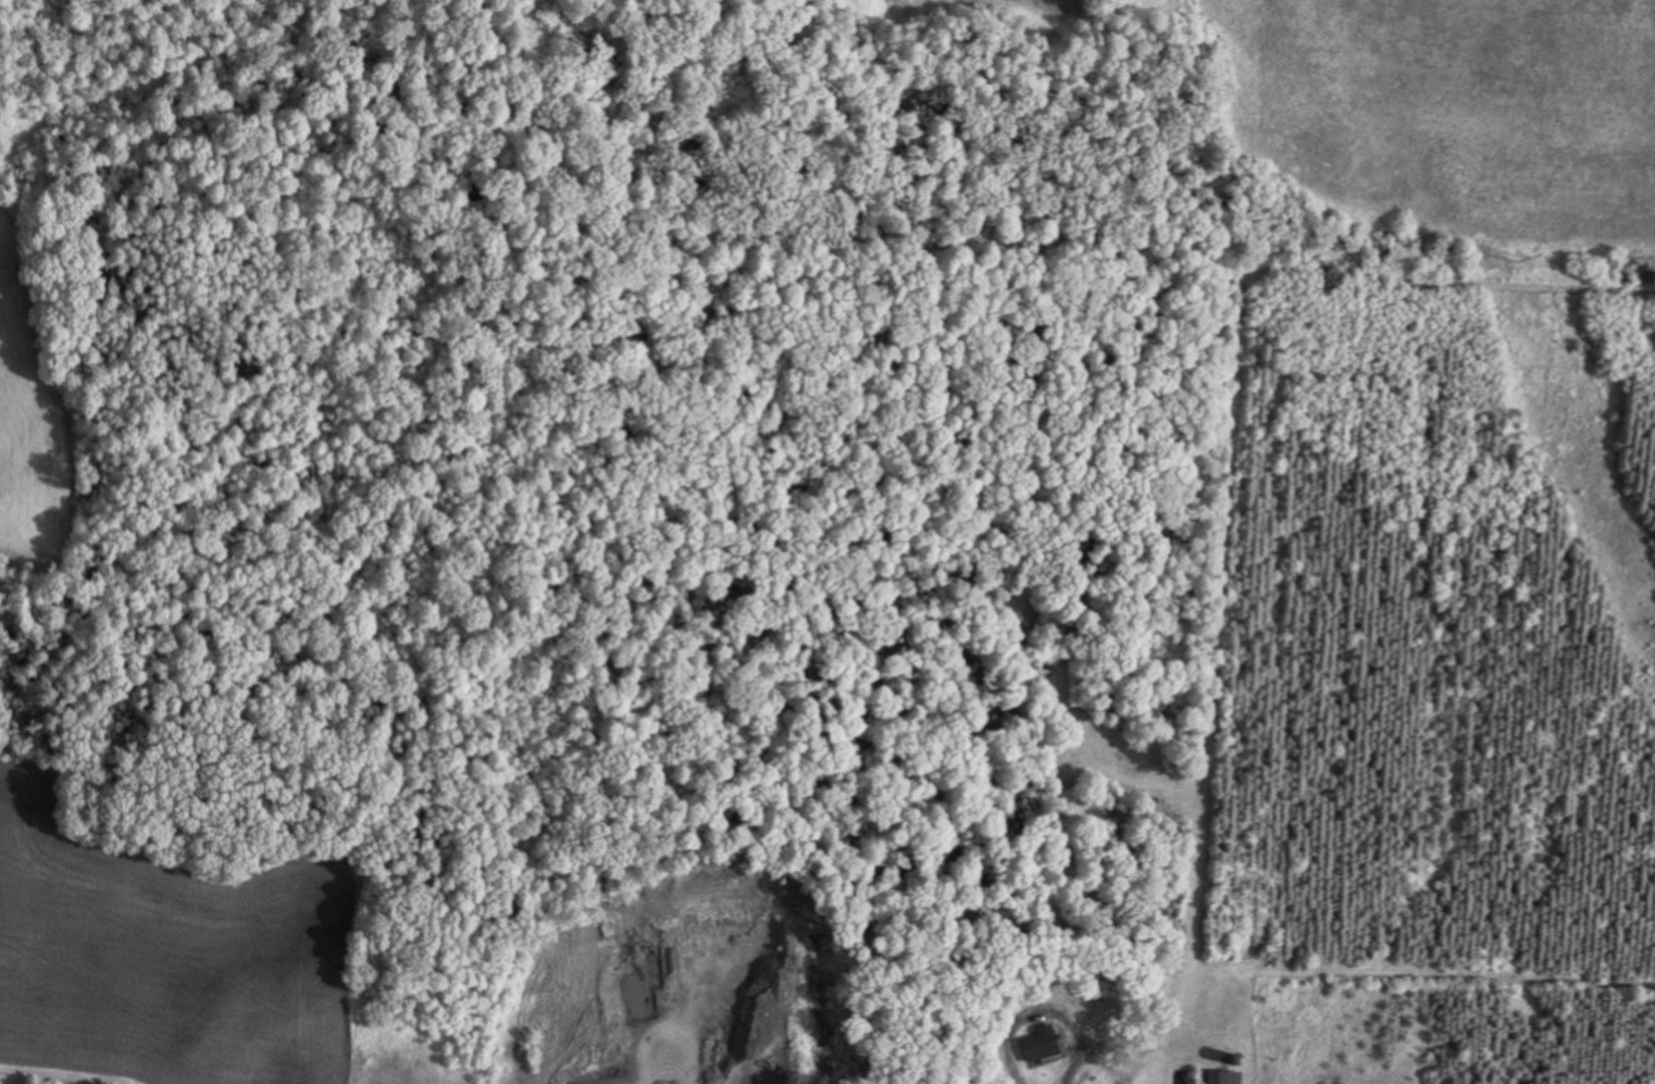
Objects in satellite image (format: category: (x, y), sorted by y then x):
power tower: (1521, 257)
building: (1047, 1044)
road: (1071, 1056)
building: (1228, 1076)

